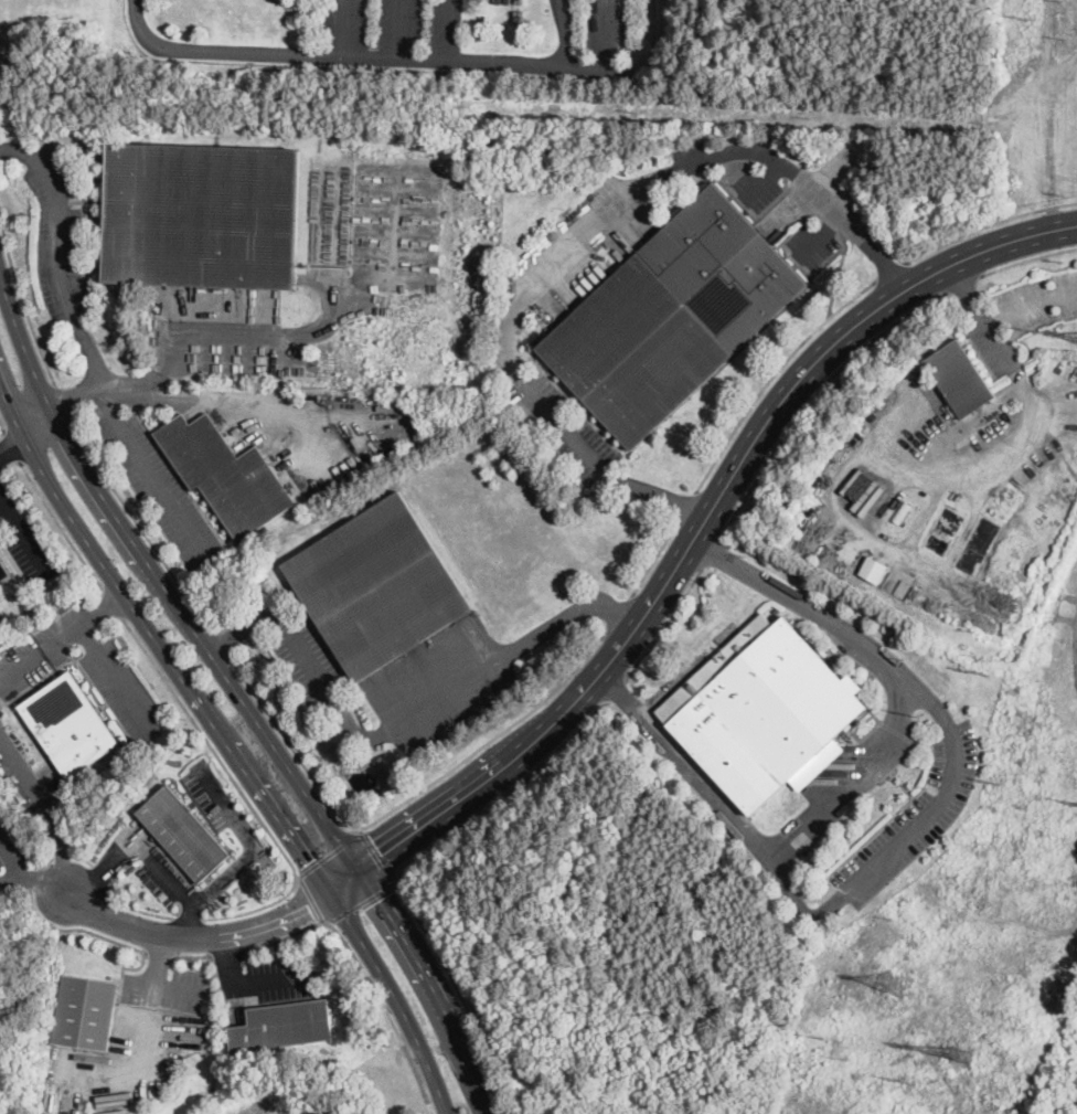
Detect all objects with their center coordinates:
power tower: (1033, 19)
road: (359, 54)
road: (18, 148)
building: (202, 215)
road: (987, 223)
parking lot: (57, 234)
road: (57, 236)
road: (584, 238)
road: (1027, 257)
road: (887, 270)
road: (836, 274)
road: (963, 283)
road: (21, 301)
power tower: (1033, 328)
road: (179, 333)
building: (635, 352)
road: (771, 375)
building: (919, 376)
building: (960, 379)
road: (813, 394)
road: (179, 395)
building: (364, 400)
road: (62, 401)
building: (871, 415)
road: (1031, 417)
road: (1, 427)
road: (25, 435)
road: (10, 444)
road: (130, 445)
building: (225, 474)
building: (860, 486)
parking lot: (161, 491)
road: (685, 505)
building: (900, 511)
road: (58, 524)
road: (139, 526)
road: (23, 531)
parking lot: (23, 541)
road: (713, 551)
road: (653, 556)
building: (874, 569)
building: (3, 570)
building: (377, 586)
road: (111, 603)
road: (100, 609)
road: (617, 613)
road: (664, 622)
road: (88, 638)
road: (218, 641)
parking lot: (41, 649)
road: (614, 651)
power tower: (984, 671)
parking lot: (122, 689)
road: (615, 689)
road: (239, 699)
building: (764, 711)
power tower: (918, 717)
building: (68, 725)
road: (405, 728)
road: (210, 746)
road: (228, 749)
road: (862, 777)
power tower: (994, 782)
road: (502, 796)
road: (399, 803)
road: (49, 809)
parking lot: (915, 817)
road: (359, 828)
building: (182, 834)
road: (902, 838)
road: (250, 846)
road: (147, 853)
road: (328, 853)
road: (376, 856)
traffic signals: (382, 857)
road: (12, 858)
traffic signals: (306, 862)
road: (10, 878)
road: (45, 881)
road: (309, 896)
traffic signals: (376, 901)
road: (362, 902)
traffic signals: (306, 905)
road: (157, 957)
road: (364, 975)
parking lot: (267, 979)
power tower: (892, 982)
road: (163, 984)
road: (247, 985)
parking lot: (167, 988)
road: (459, 991)
building: (86, 1011)
building: (284, 1025)
power tower: (820, 1038)
power tower: (958, 1052)
power tower: (906, 1078)

